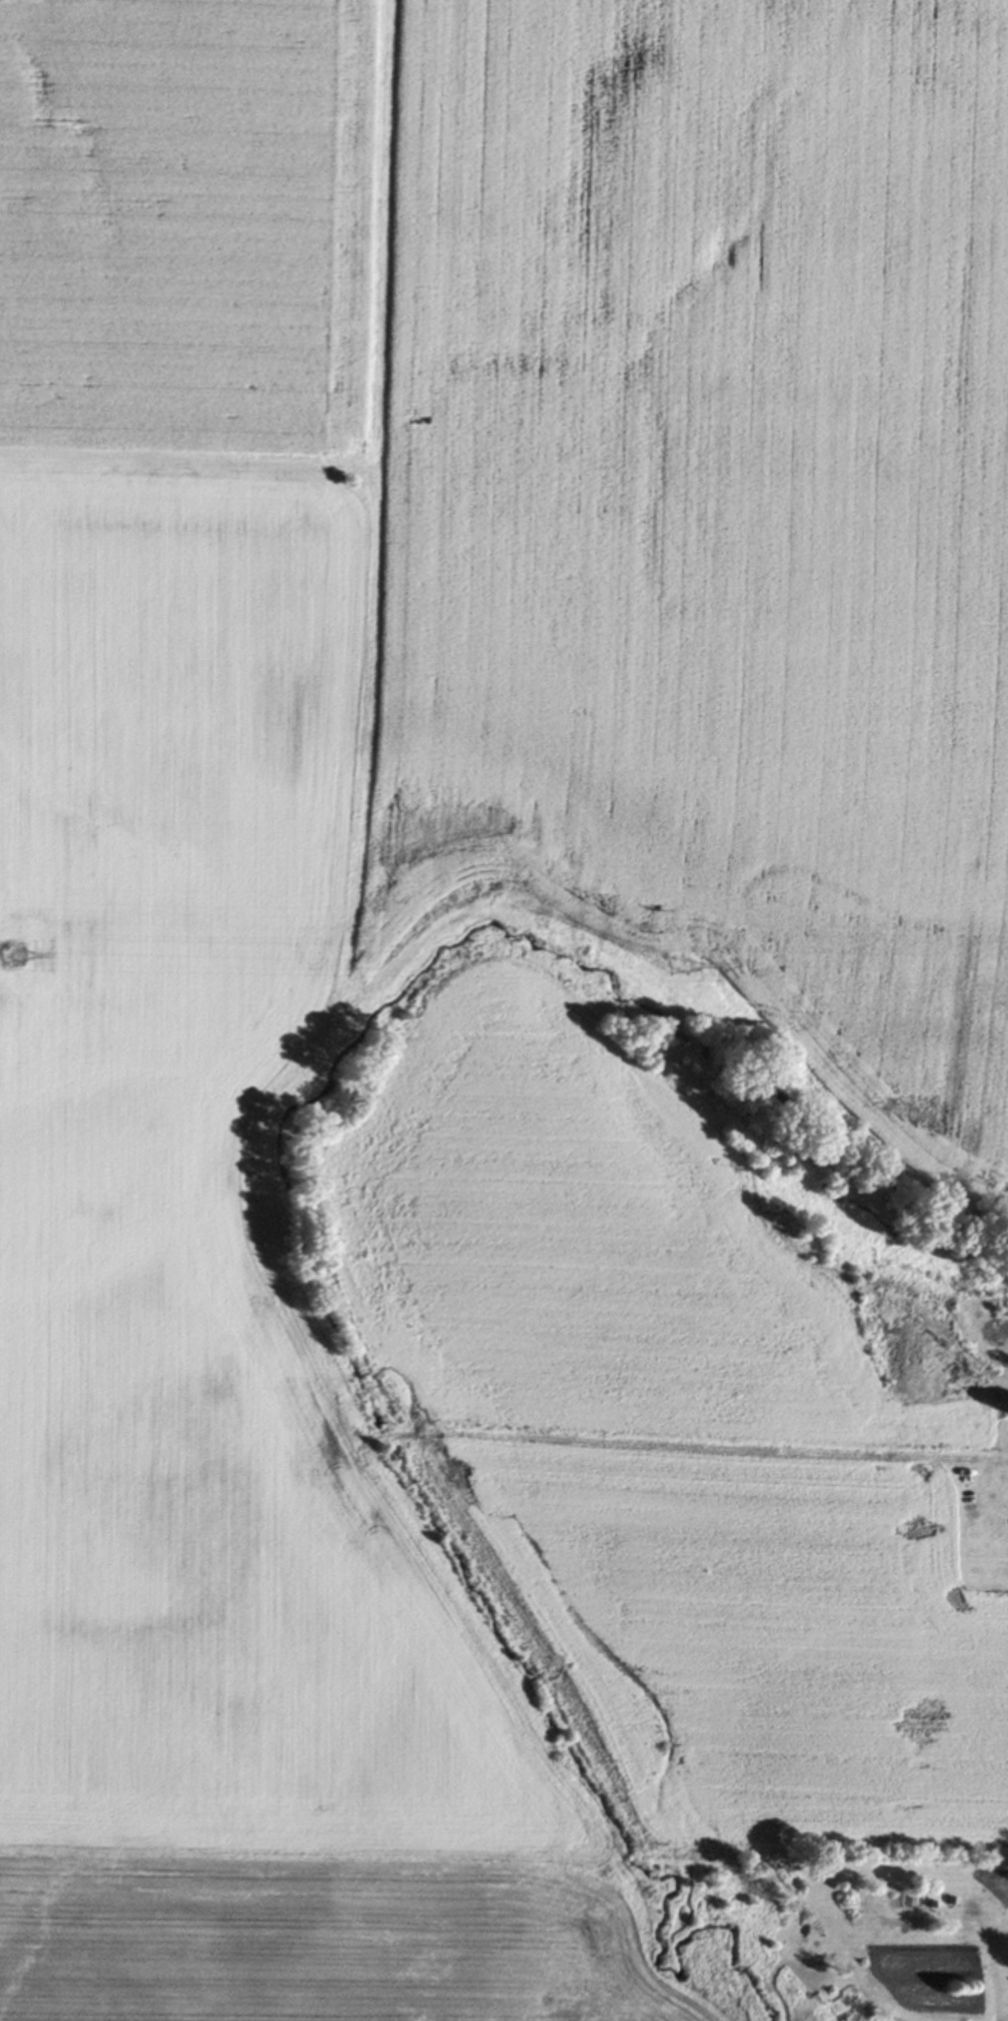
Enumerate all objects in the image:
power tower: (13, 957)
power tower: (679, 969)

